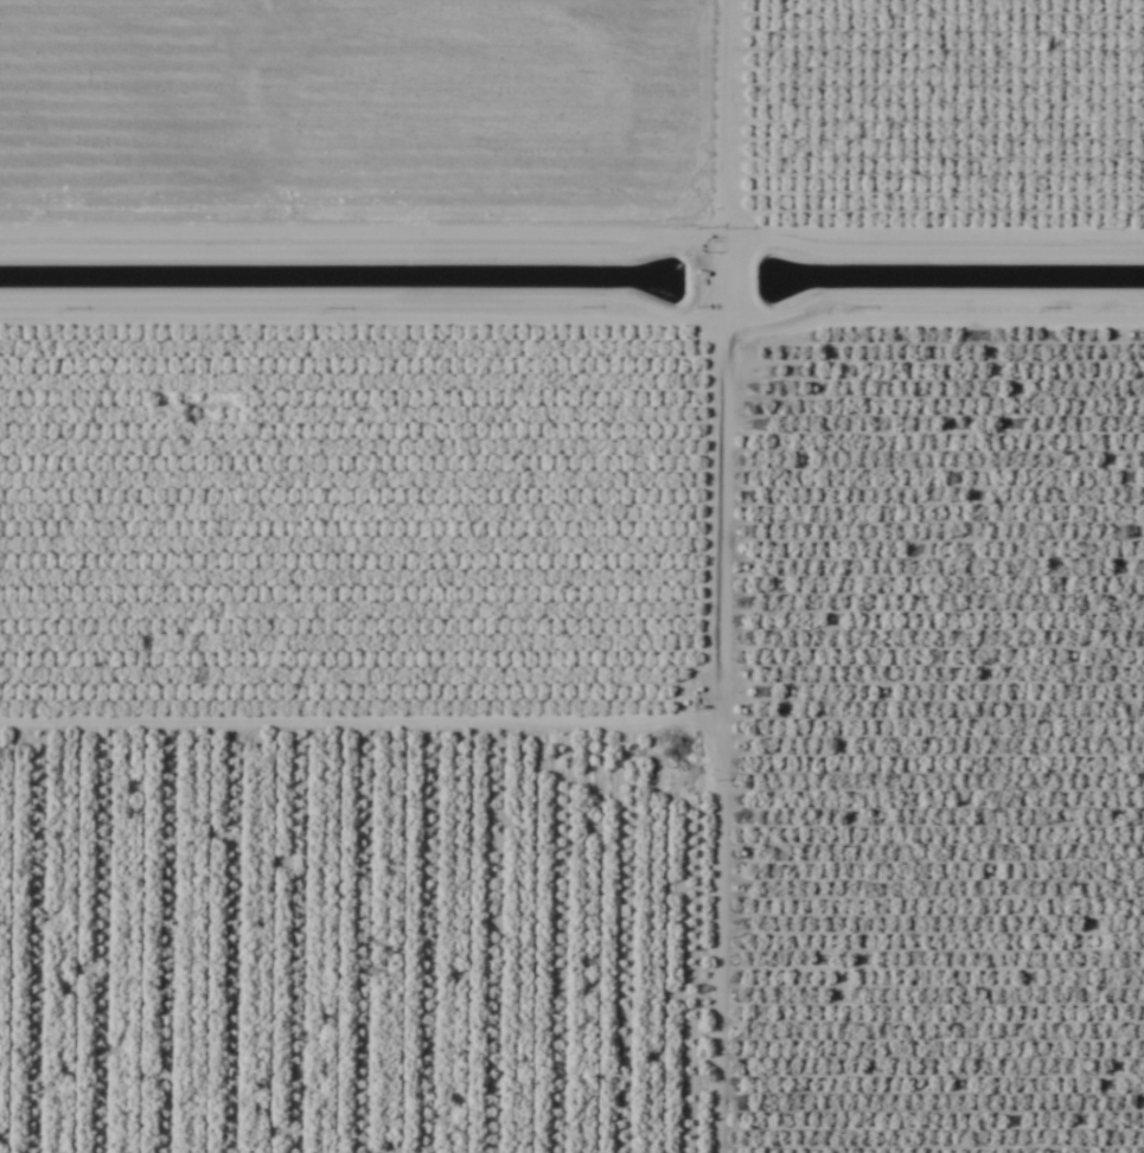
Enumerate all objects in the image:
crop: (571, 576)
road: (709, 576)

